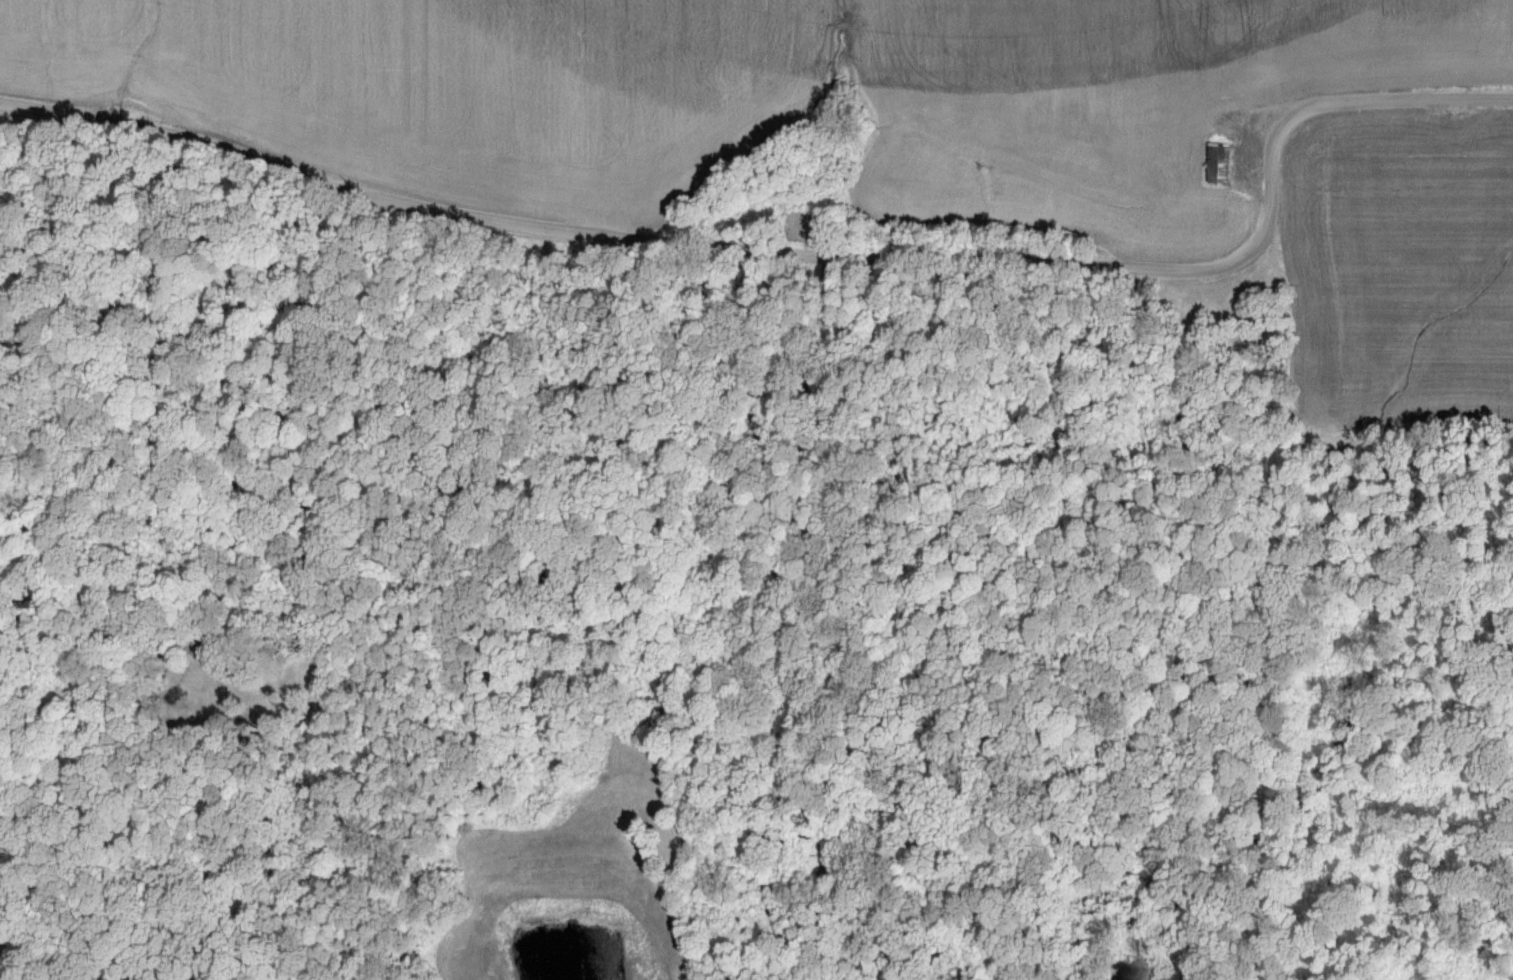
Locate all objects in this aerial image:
building: (1221, 163)
road: (800, 252)
road: (839, 614)

